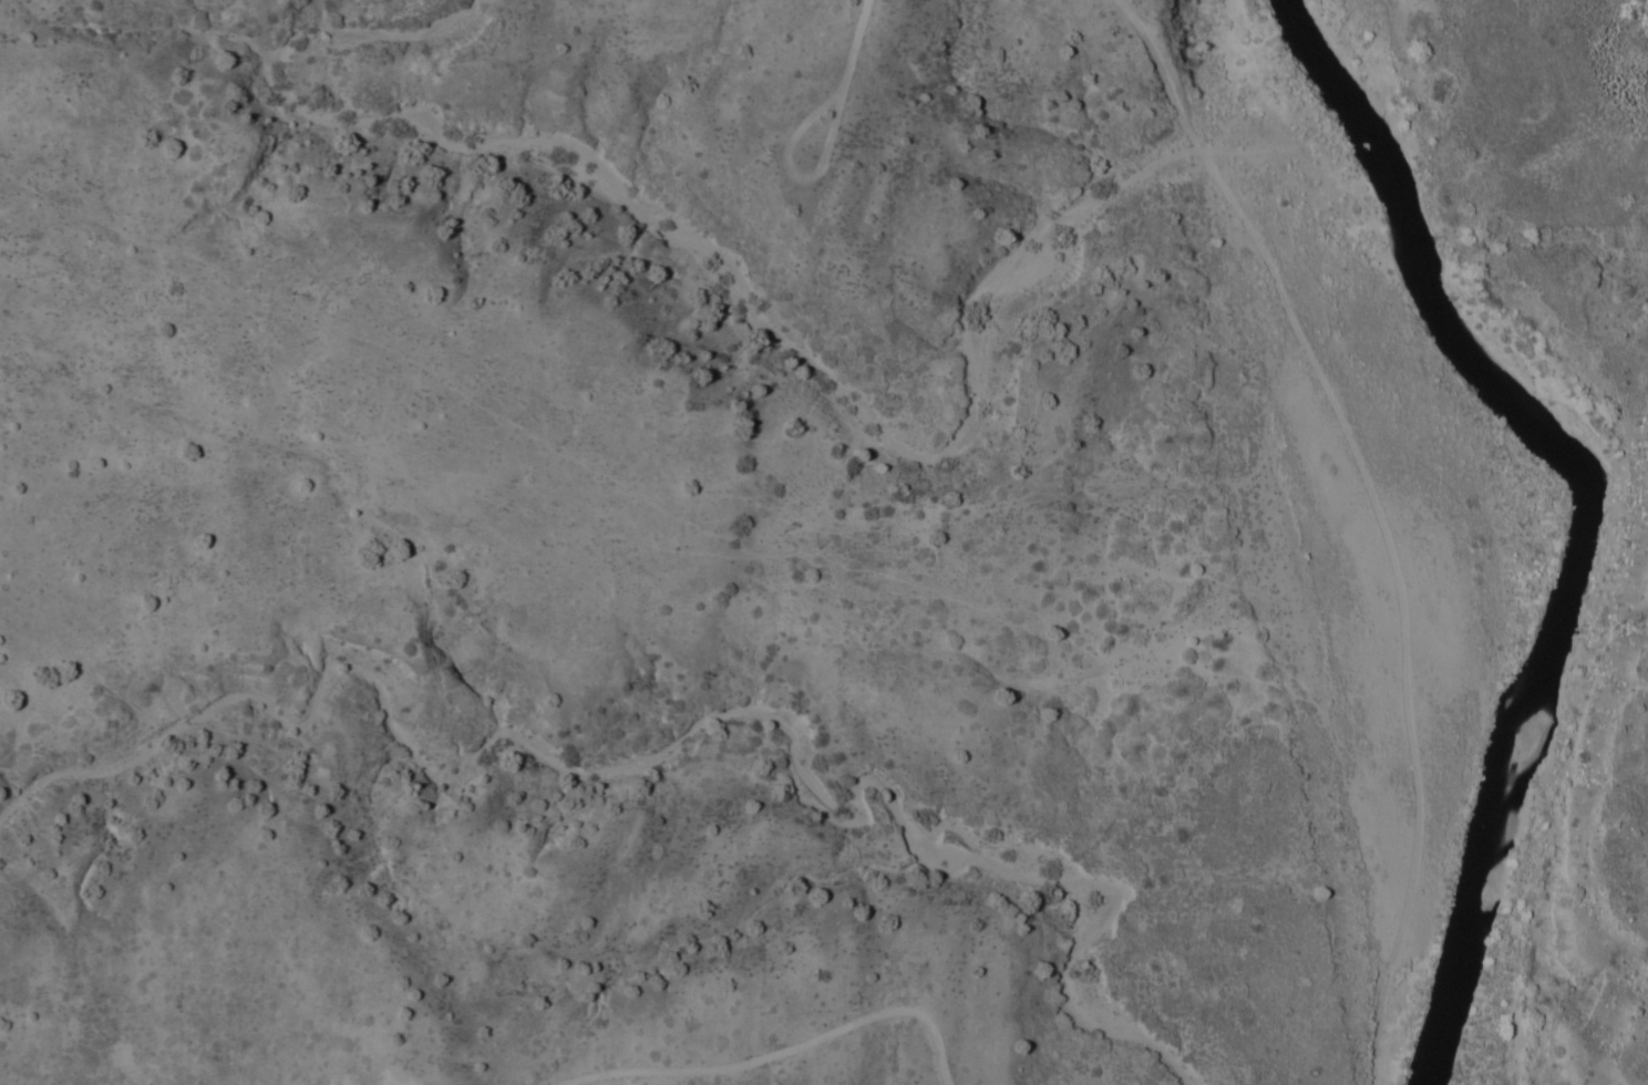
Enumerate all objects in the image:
river: (1587, 504)

